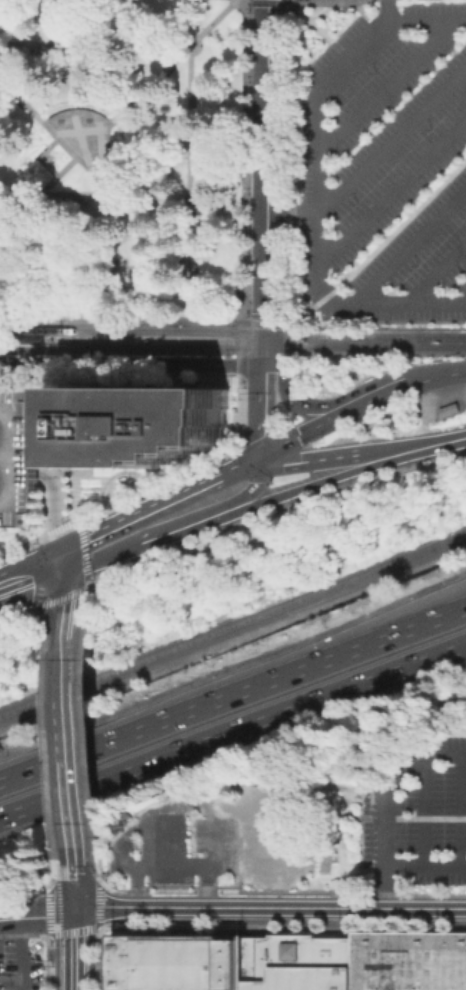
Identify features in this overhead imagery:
road: (292, 0)
road: (246, 1)
road: (289, 1)
road: (267, 2)
road: (350, 4)
road: (361, 9)
road: (385, 9)
road: (323, 11)
road: (425, 18)
road: (310, 20)
road: (385, 84)
road: (120, 114)
road: (291, 129)
road: (393, 135)
fountain: (80, 139)
road: (41, 156)
road: (190, 156)
road: (229, 157)
park: (120, 158)
parking lot: (380, 162)
road: (114, 169)
road: (267, 170)
road: (393, 185)
road: (76, 193)
road: (120, 198)
road: (321, 216)
road: (379, 241)
road: (411, 242)
road: (438, 269)
road: (129, 302)
road: (33, 307)
traffic signals: (267, 312)
railway: (62, 321)
road: (156, 321)
road: (266, 321)
road: (36, 322)
road: (379, 327)
railway: (233, 331)
road: (36, 339)
railway: (66, 339)
road: (156, 339)
road: (73, 341)
railway: (352, 341)
road: (240, 347)
railway: (275, 347)
railway: (41, 348)
road: (132, 362)
traffic signals: (234, 363)
traffic signals: (265, 370)
traffic signals: (276, 370)
road: (437, 375)
road: (288, 390)
road: (373, 397)
road: (265, 402)
building: (142, 423)
building: (53, 426)
road: (296, 435)
road: (429, 445)
building: (17, 452)
parking lot: (17, 452)
road: (325, 455)
traffic signals: (259, 464)
road: (238, 469)
road: (120, 479)
road: (317, 481)
road: (255, 487)
road: (132, 511)
road: (56, 512)
road: (265, 513)
road: (151, 539)
traffic signals: (62, 566)
road: (31, 576)
road: (66, 582)
road: (70, 604)
railway: (233, 623)
road: (70, 634)
road: (233, 637)
road: (71, 675)
road: (233, 694)
road: (71, 726)
road: (91, 727)
road: (233, 729)
road: (71, 802)
road: (384, 804)
road: (464, 811)
road: (425, 813)
parking lot: (417, 818)
road: (425, 866)
road: (72, 878)
road: (269, 907)
traffic signals: (73, 912)
road: (36, 917)
road: (73, 950)
road: (21, 954)
building: (290, 961)
parking lot: (20, 967)

